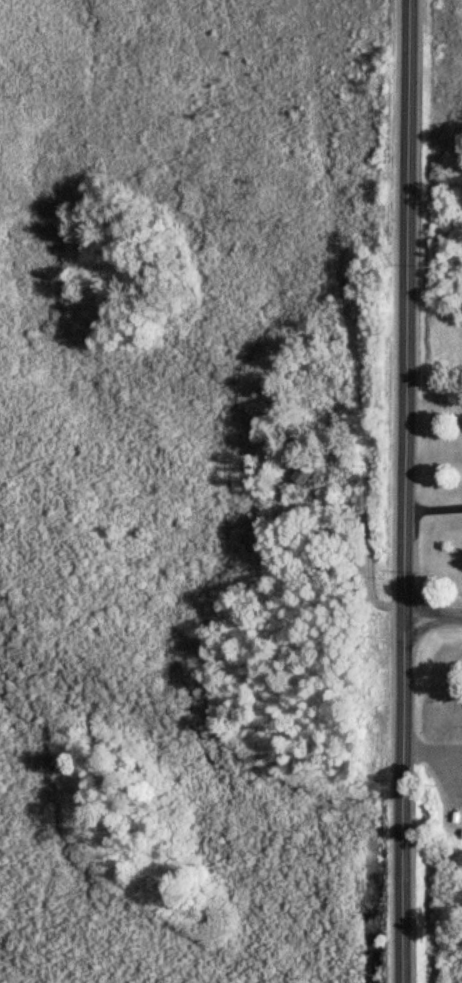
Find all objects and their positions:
road: (405, 491)
road: (433, 613)

